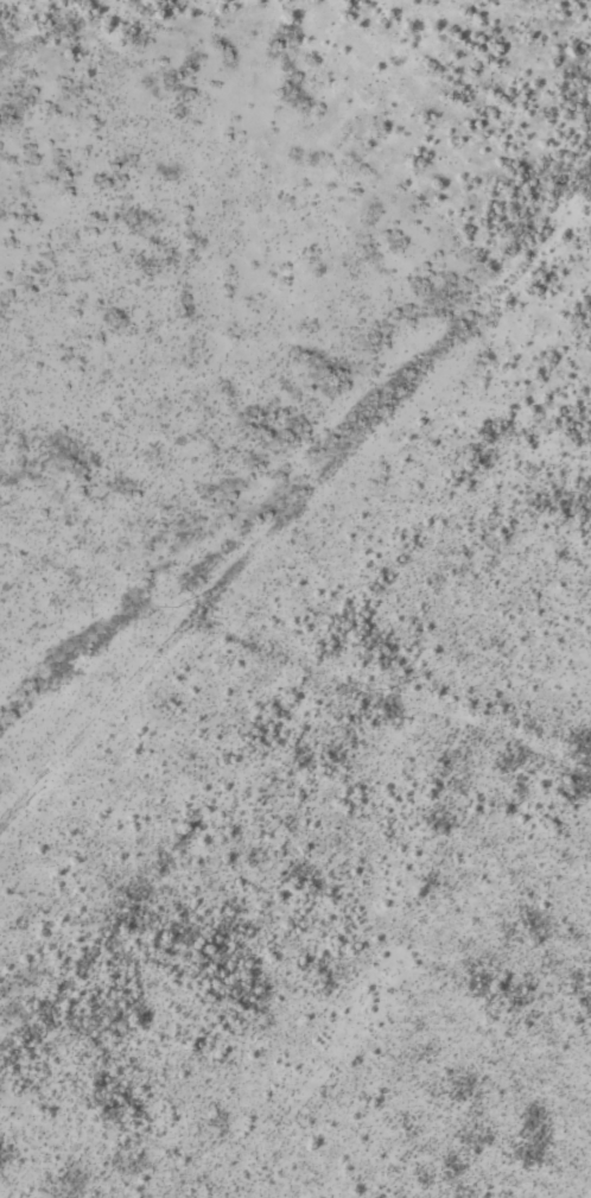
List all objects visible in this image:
power tower: (176, 608)
power tower: (386, 690)

